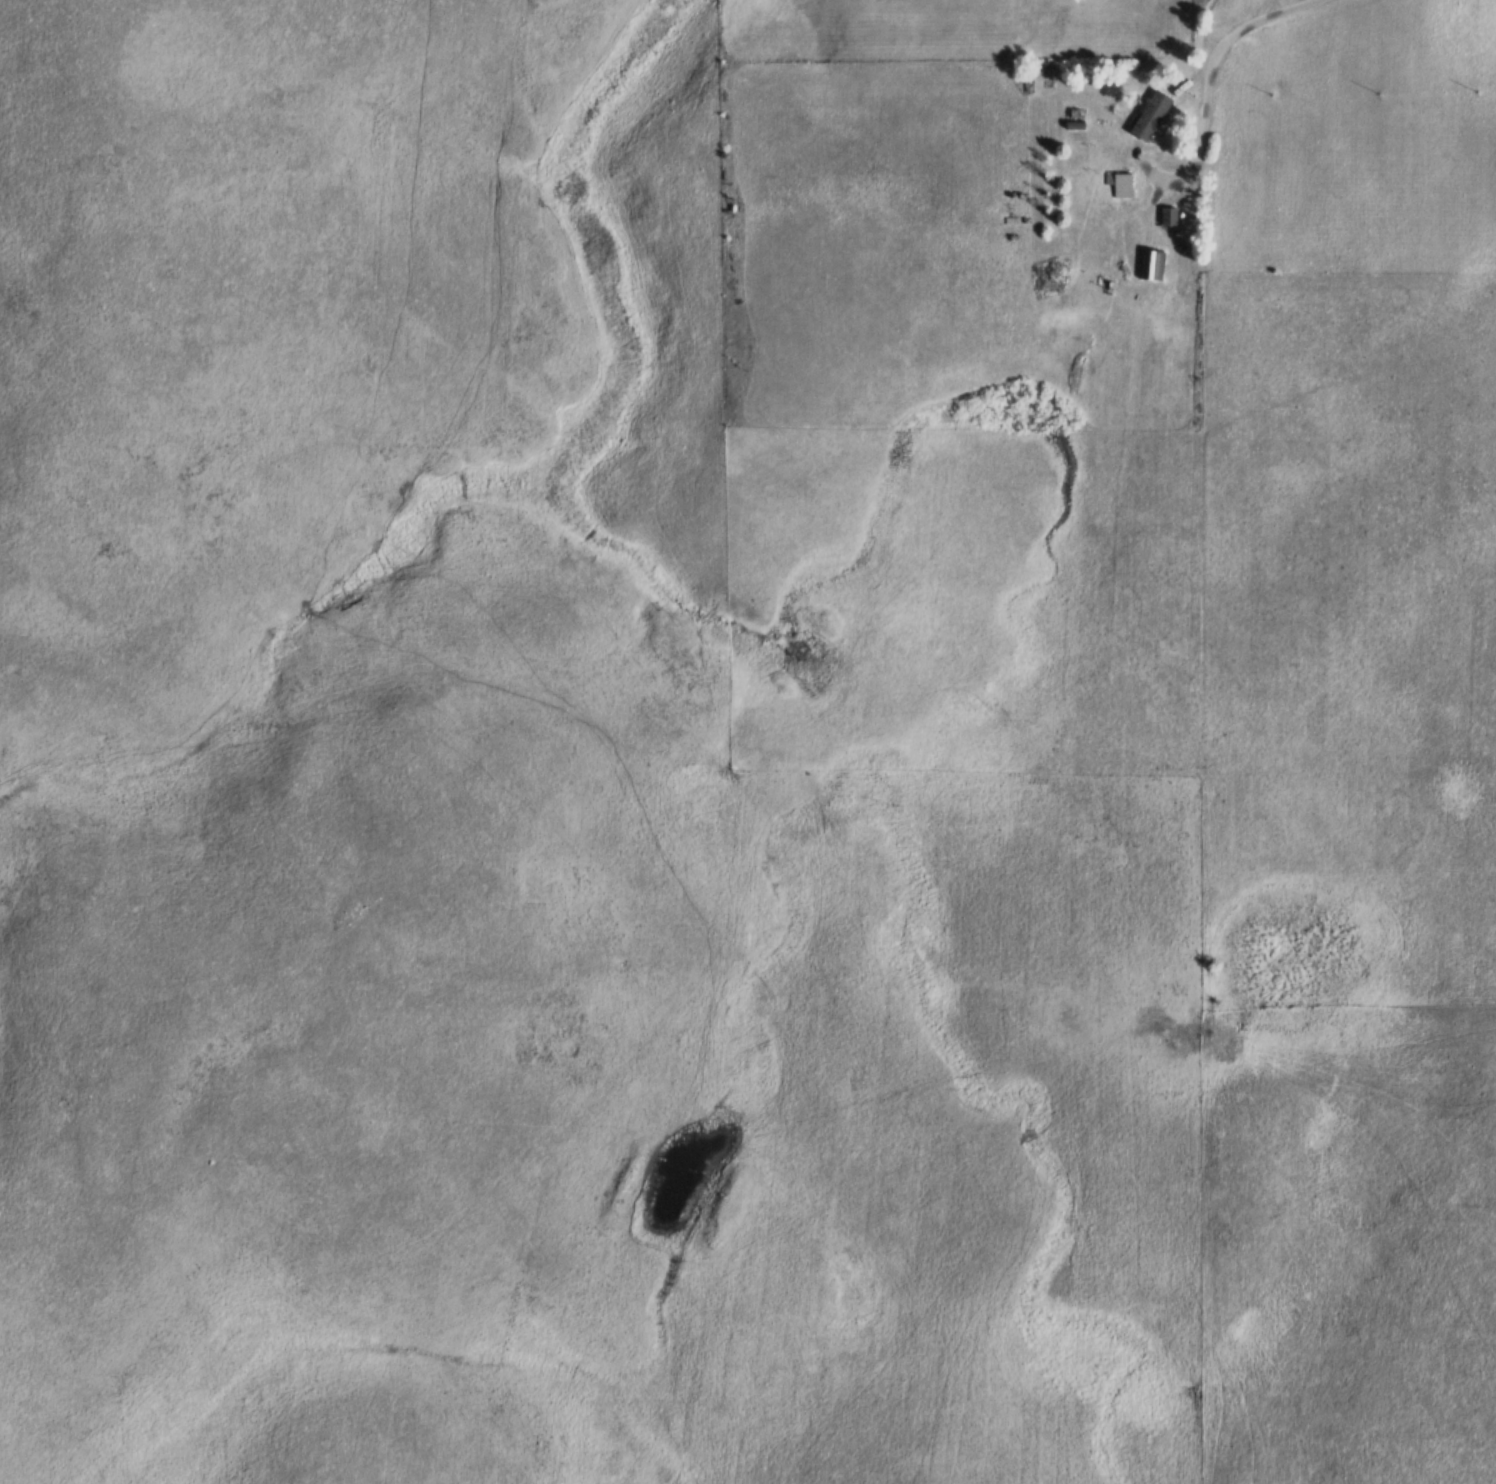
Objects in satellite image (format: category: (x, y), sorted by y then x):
road: (1291, 20)
building: (1147, 117)
building: (1120, 187)
building: (1165, 217)

